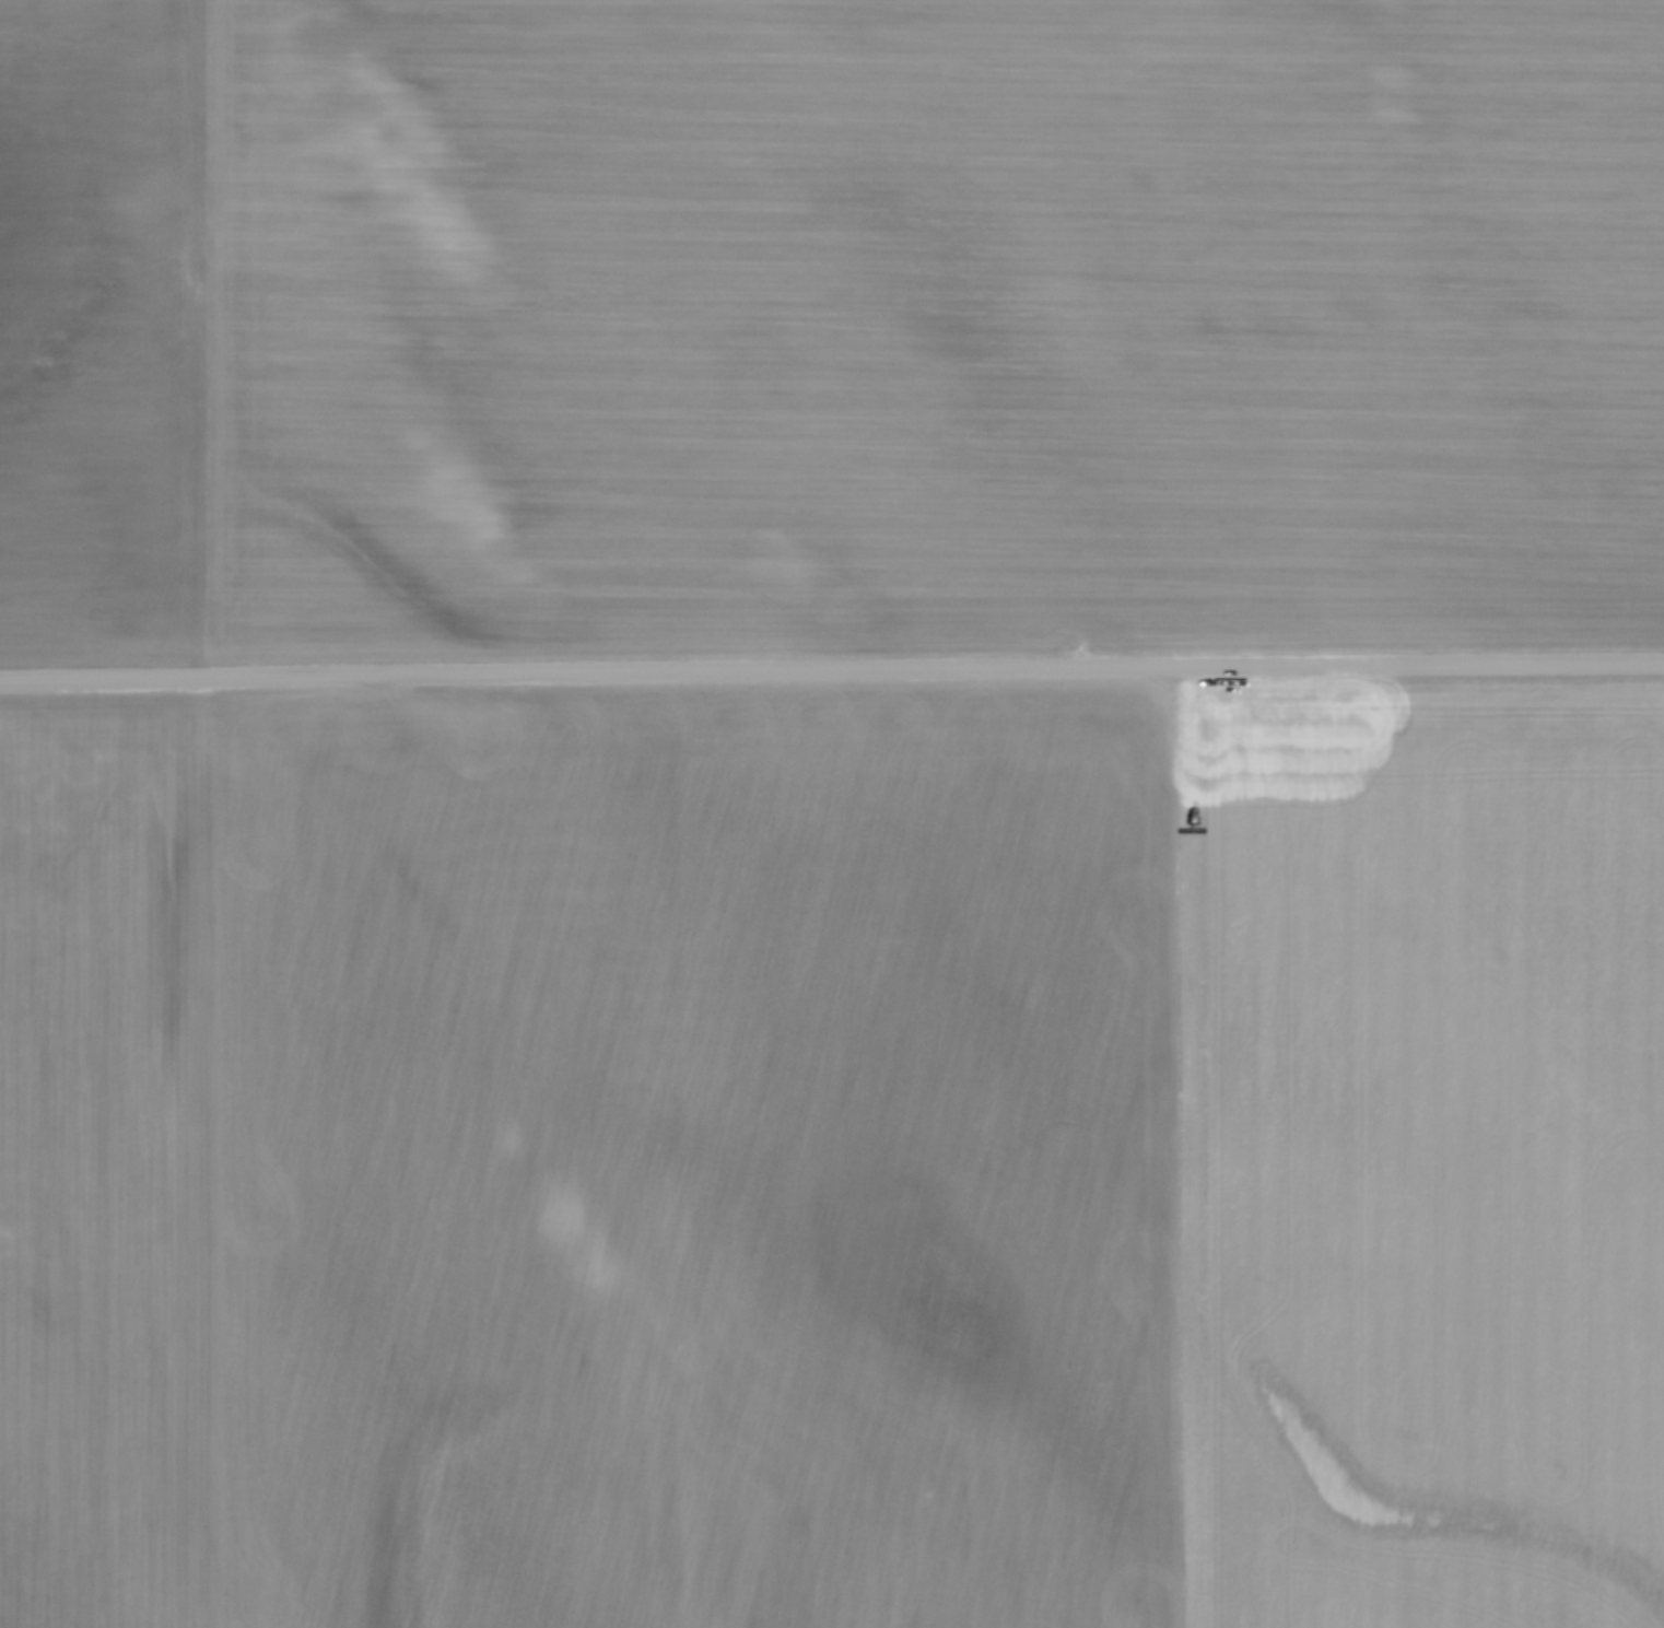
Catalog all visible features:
crop: (830, 324)
road: (832, 672)
crop: (833, 1159)

